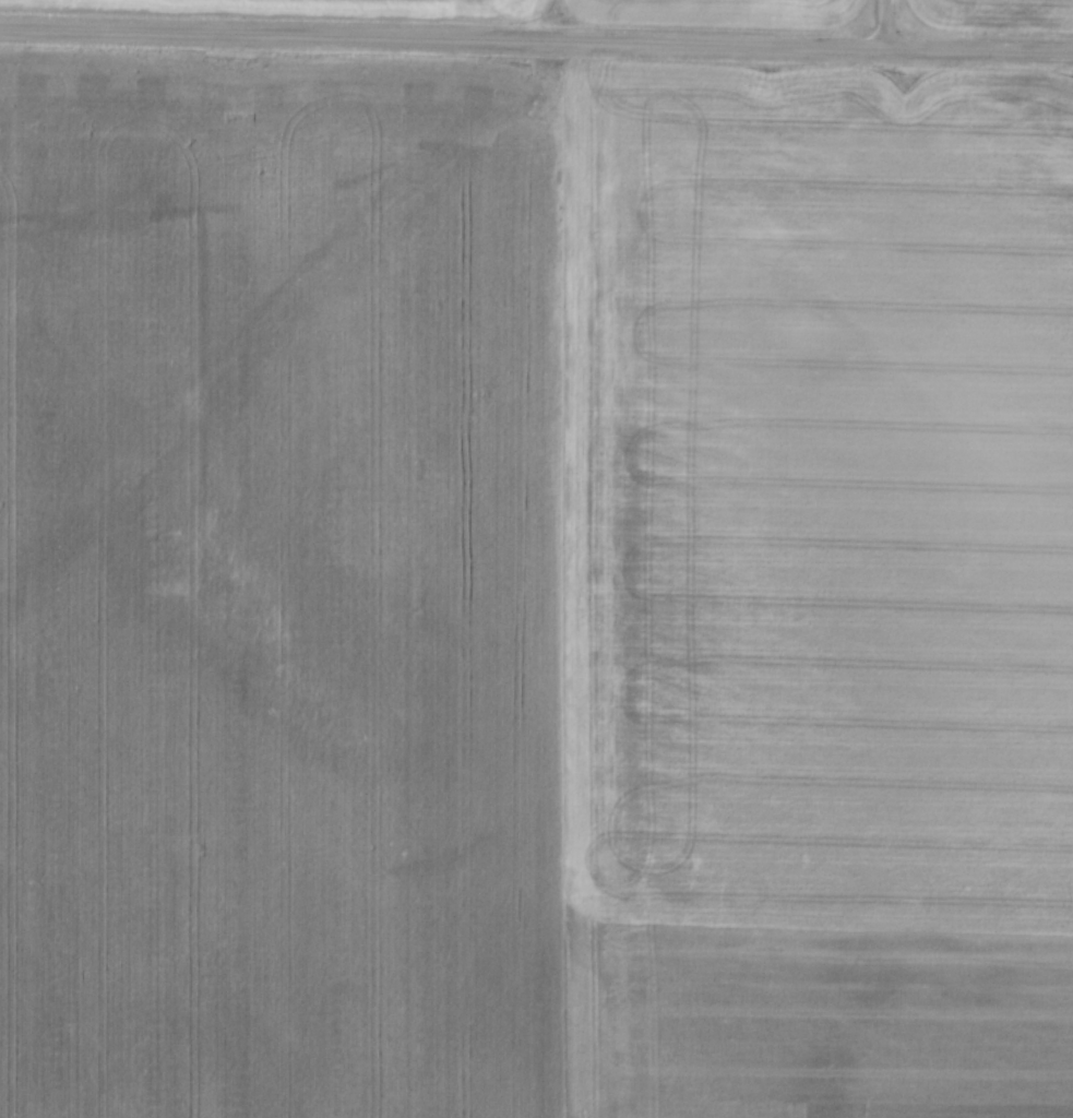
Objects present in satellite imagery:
crop: (511, 10)
crop: (999, 13)
road: (887, 23)
road: (536, 39)
crop: (534, 588)

